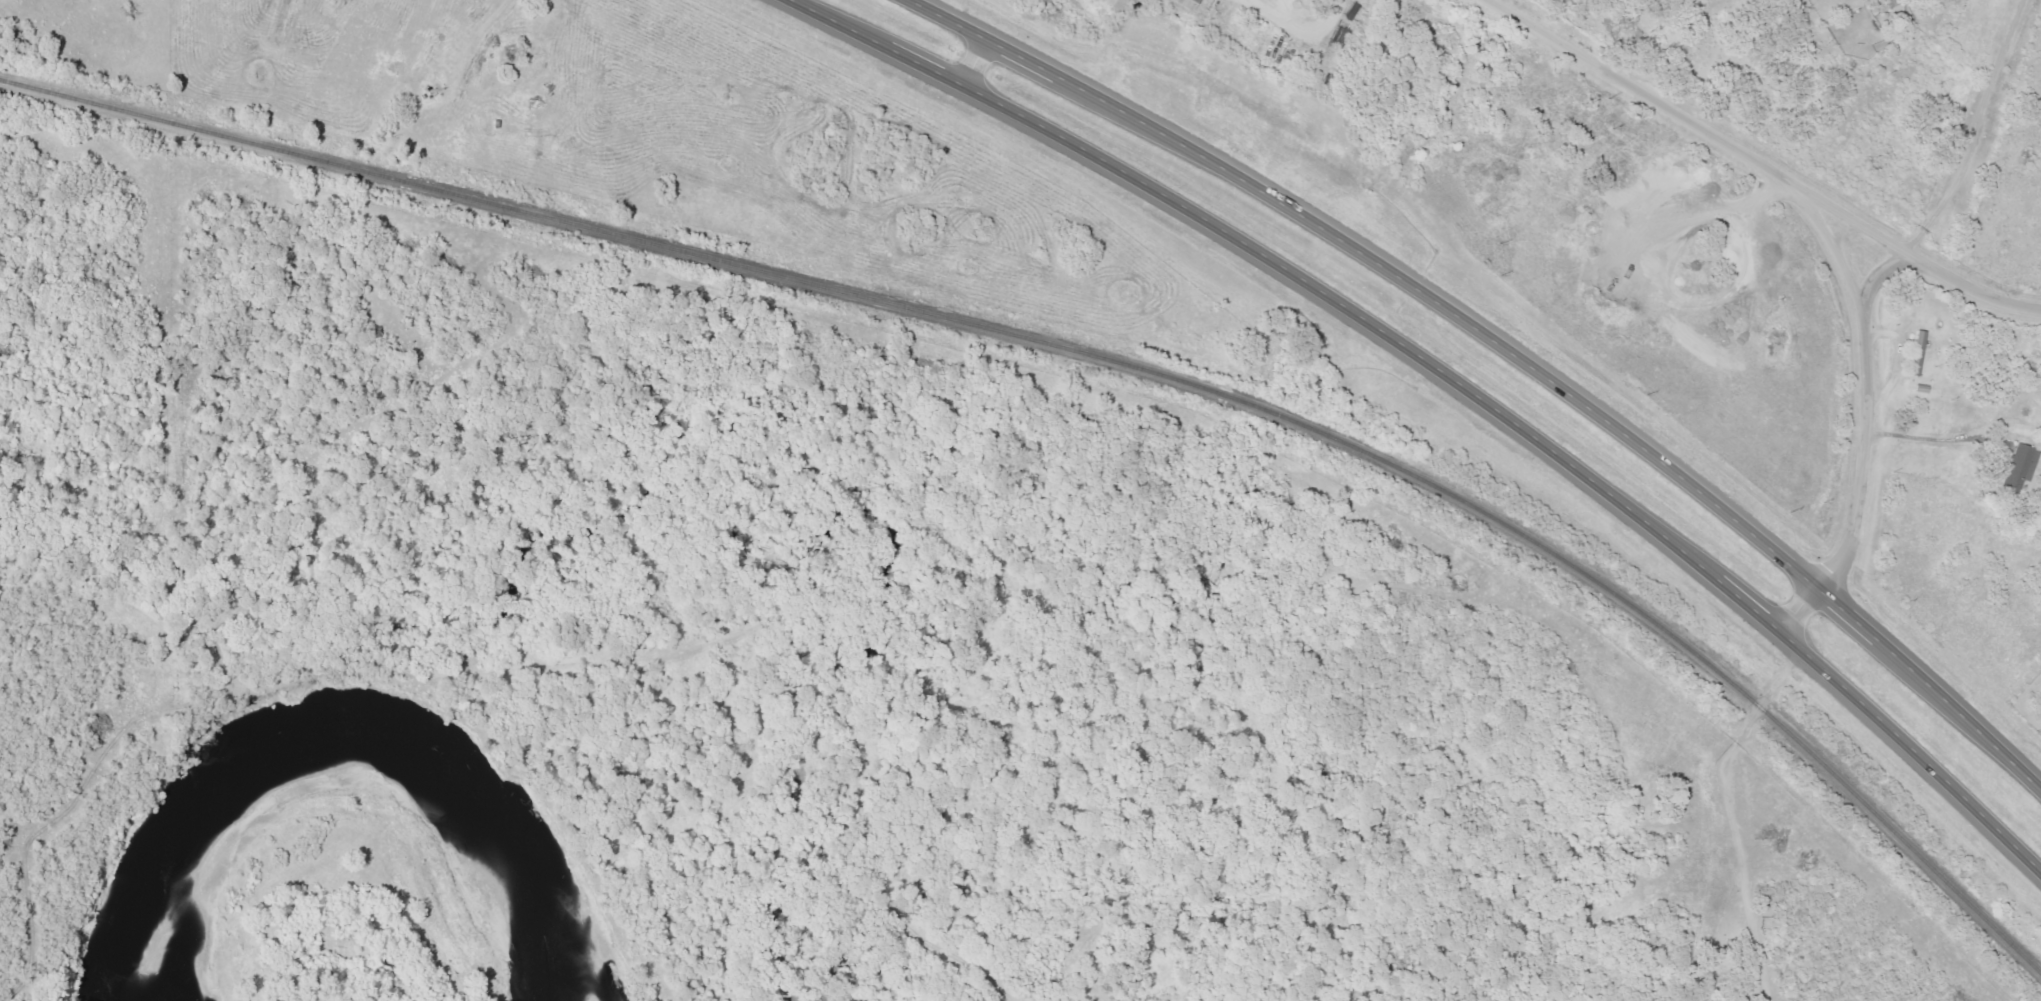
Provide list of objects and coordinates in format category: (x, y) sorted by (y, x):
building: (1188, 3)
road: (968, 64)
road: (1956, 121)
road: (1766, 161)
building: (1920, 341)
road: (1504, 348)
railway: (1102, 362)
road: (1873, 365)
road: (1449, 381)
building: (2020, 468)
road: (1951, 575)
road: (1799, 612)
road: (1764, 695)
river: (327, 757)

